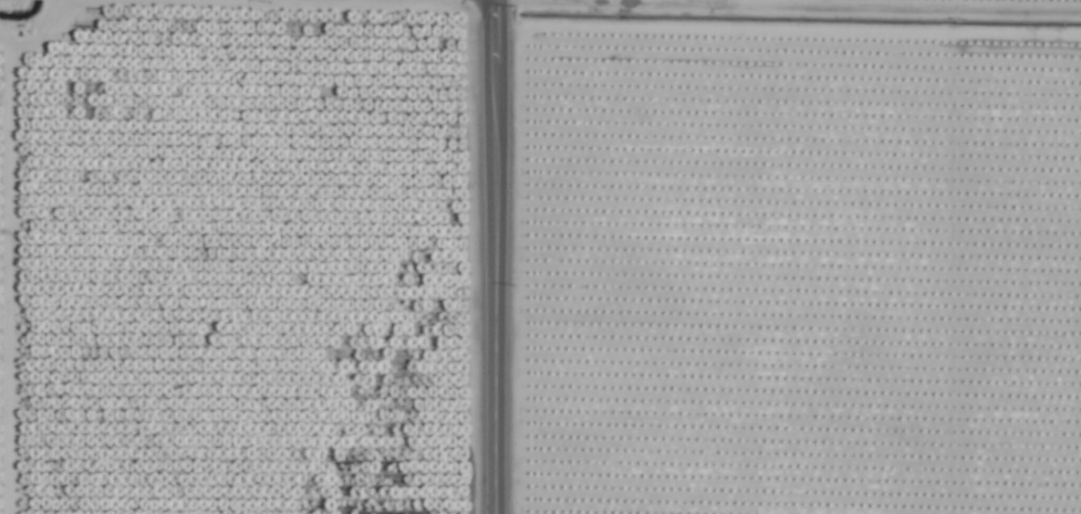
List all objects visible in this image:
road: (492, 256)

